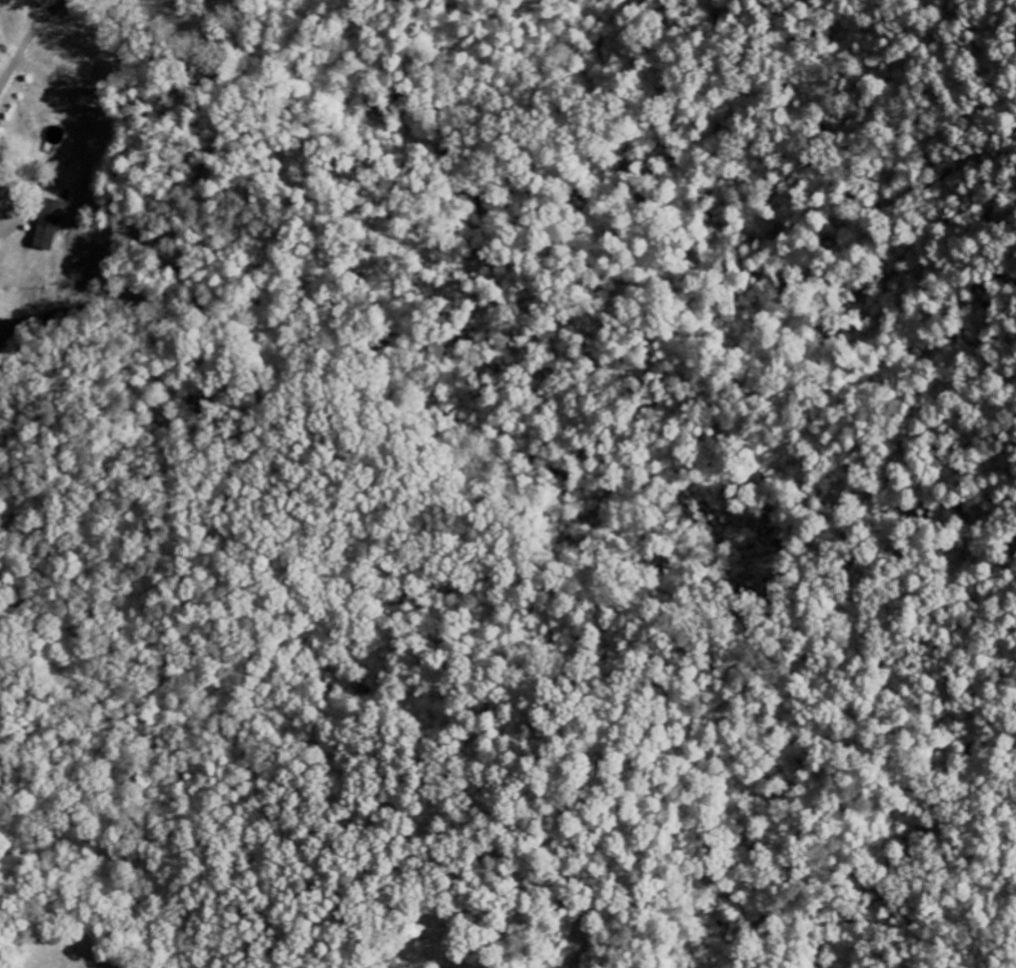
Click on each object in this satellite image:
road: (35, 12)
road: (26, 39)
building: (47, 226)

